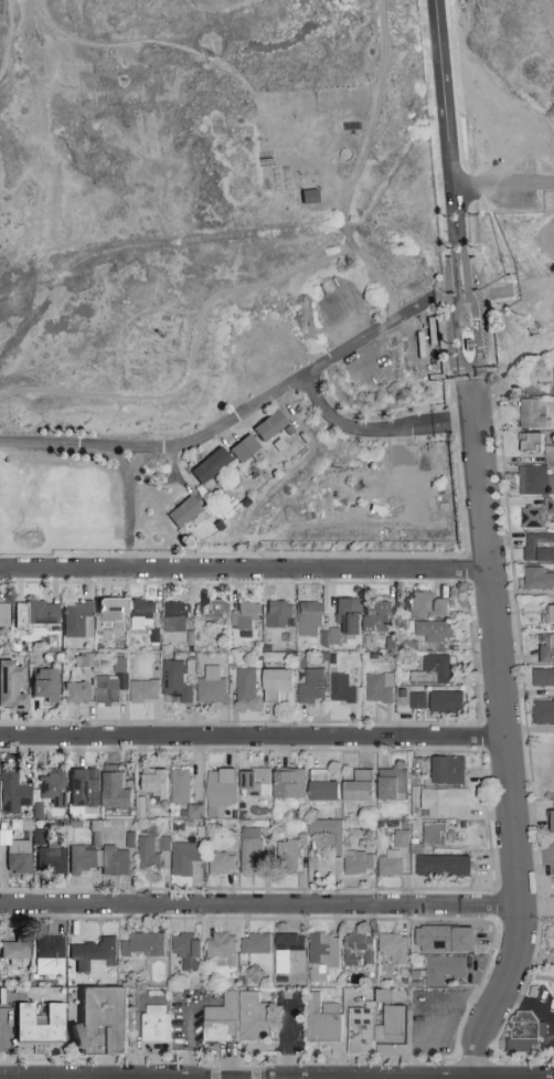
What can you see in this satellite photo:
road: (443, 93)
road: (519, 149)
building: (277, 177)
road: (502, 183)
building: (305, 195)
road: (466, 276)
road: (456, 277)
road: (512, 292)
road: (465, 307)
building: (465, 343)
building: (552, 372)
road: (476, 393)
road: (462, 394)
building: (552, 408)
building: (526, 413)
road: (227, 421)
building: (265, 425)
road: (375, 429)
building: (528, 442)
building: (239, 447)
building: (547, 453)
building: (205, 464)
building: (531, 480)
building: (179, 511)
building: (535, 514)
building: (537, 547)
road: (239, 569)
building: (535, 578)
building: (424, 603)
building: (106, 607)
building: (205, 607)
building: (39, 612)
building: (138, 612)
building: (2, 613)
building: (15, 613)
building: (275, 613)
building: (546, 613)
building: (241, 614)
building: (344, 614)
building: (171, 615)
building: (372, 615)
building: (305, 617)
building: (74, 618)
building: (430, 628)
building: (327, 636)
building: (544, 646)
building: (429, 669)
building: (541, 676)
building: (171, 681)
building: (271, 681)
building: (40, 683)
building: (242, 684)
building: (9, 685)
building: (207, 685)
building: (308, 685)
building: (375, 686)
building: (338, 687)
building: (103, 688)
building: (140, 689)
building: (72, 690)
building: (414, 699)
building: (441, 701)
building: (541, 711)
road: (249, 736)
road: (501, 753)
building: (444, 769)
building: (150, 780)
building: (252, 780)
building: (285, 782)
building: (388, 782)
building: (177, 784)
building: (78, 785)
building: (318, 785)
building: (355, 785)
building: (47, 786)
building: (110, 786)
building: (216, 790)
building: (10, 791)
building: (438, 800)
building: (550, 819)
building: (428, 832)
building: (324, 833)
building: (397, 837)
building: (247, 849)
building: (147, 850)
building: (285, 853)
building: (14, 855)
building: (46, 856)
building: (180, 857)
road: (533, 857)
building: (79, 858)
building: (111, 860)
building: (355, 861)
building: (217, 863)
building: (386, 863)
building: (439, 865)
building: (553, 887)
road: (257, 903)
building: (139, 943)
building: (251, 943)
building: (219, 946)
building: (390, 946)
building: (12, 948)
building: (353, 948)
building: (182, 949)
building: (283, 950)
building: (44, 953)
building: (88, 953)
building: (318, 954)
building: (439, 969)
road: (528, 1003)
road: (427, 1008)
building: (251, 1016)
building: (385, 1017)
building: (217, 1018)
building: (319, 1018)
building: (95, 1019)
building: (33, 1020)
building: (151, 1023)
building: (356, 1028)
building: (520, 1036)
road: (286, 1037)

